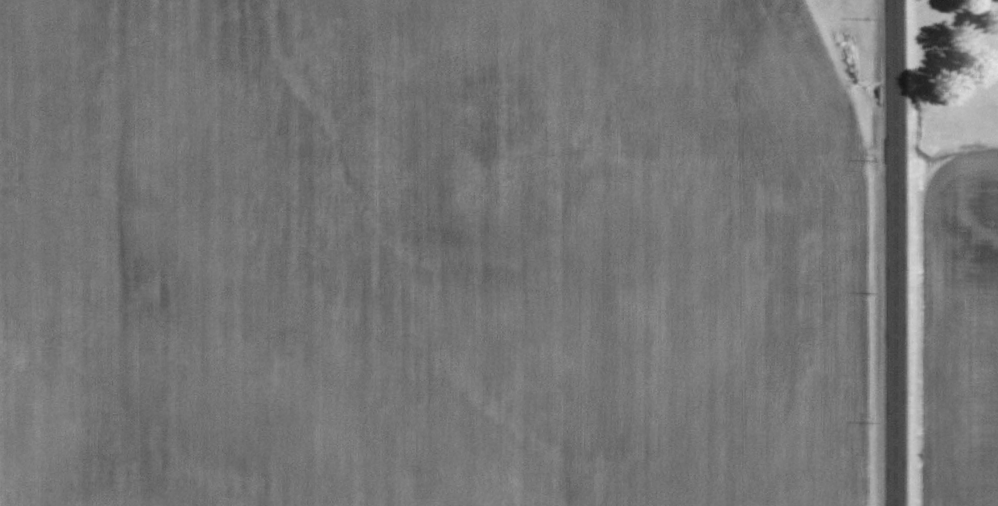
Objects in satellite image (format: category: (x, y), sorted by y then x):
road: (886, 253)

